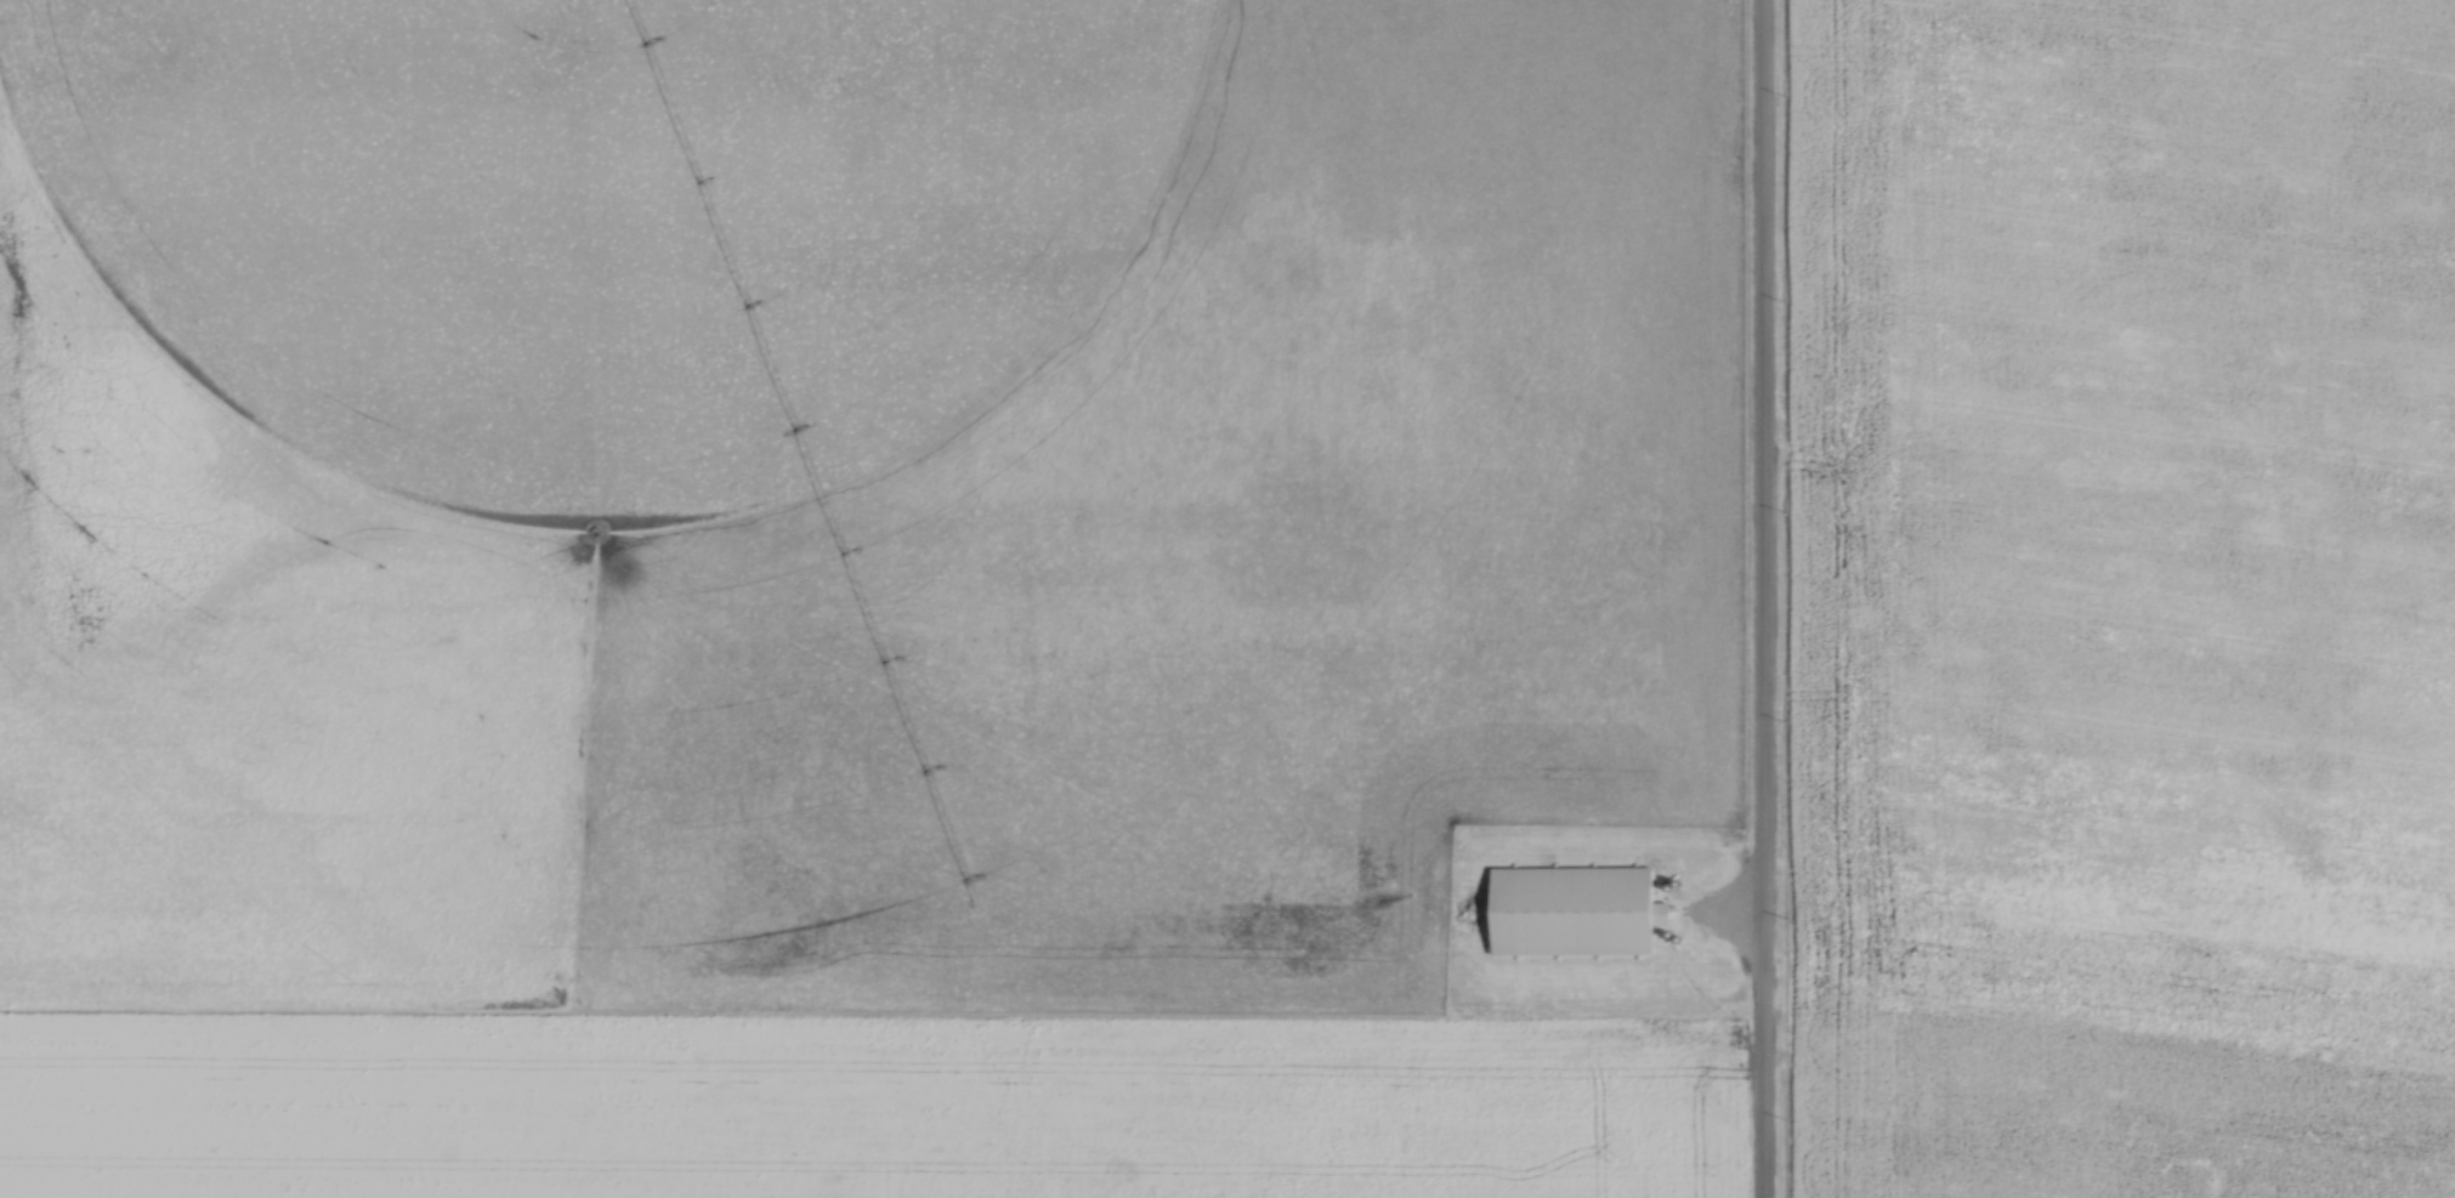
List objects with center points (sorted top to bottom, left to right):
road: (1759, 598)
building: (1575, 907)

